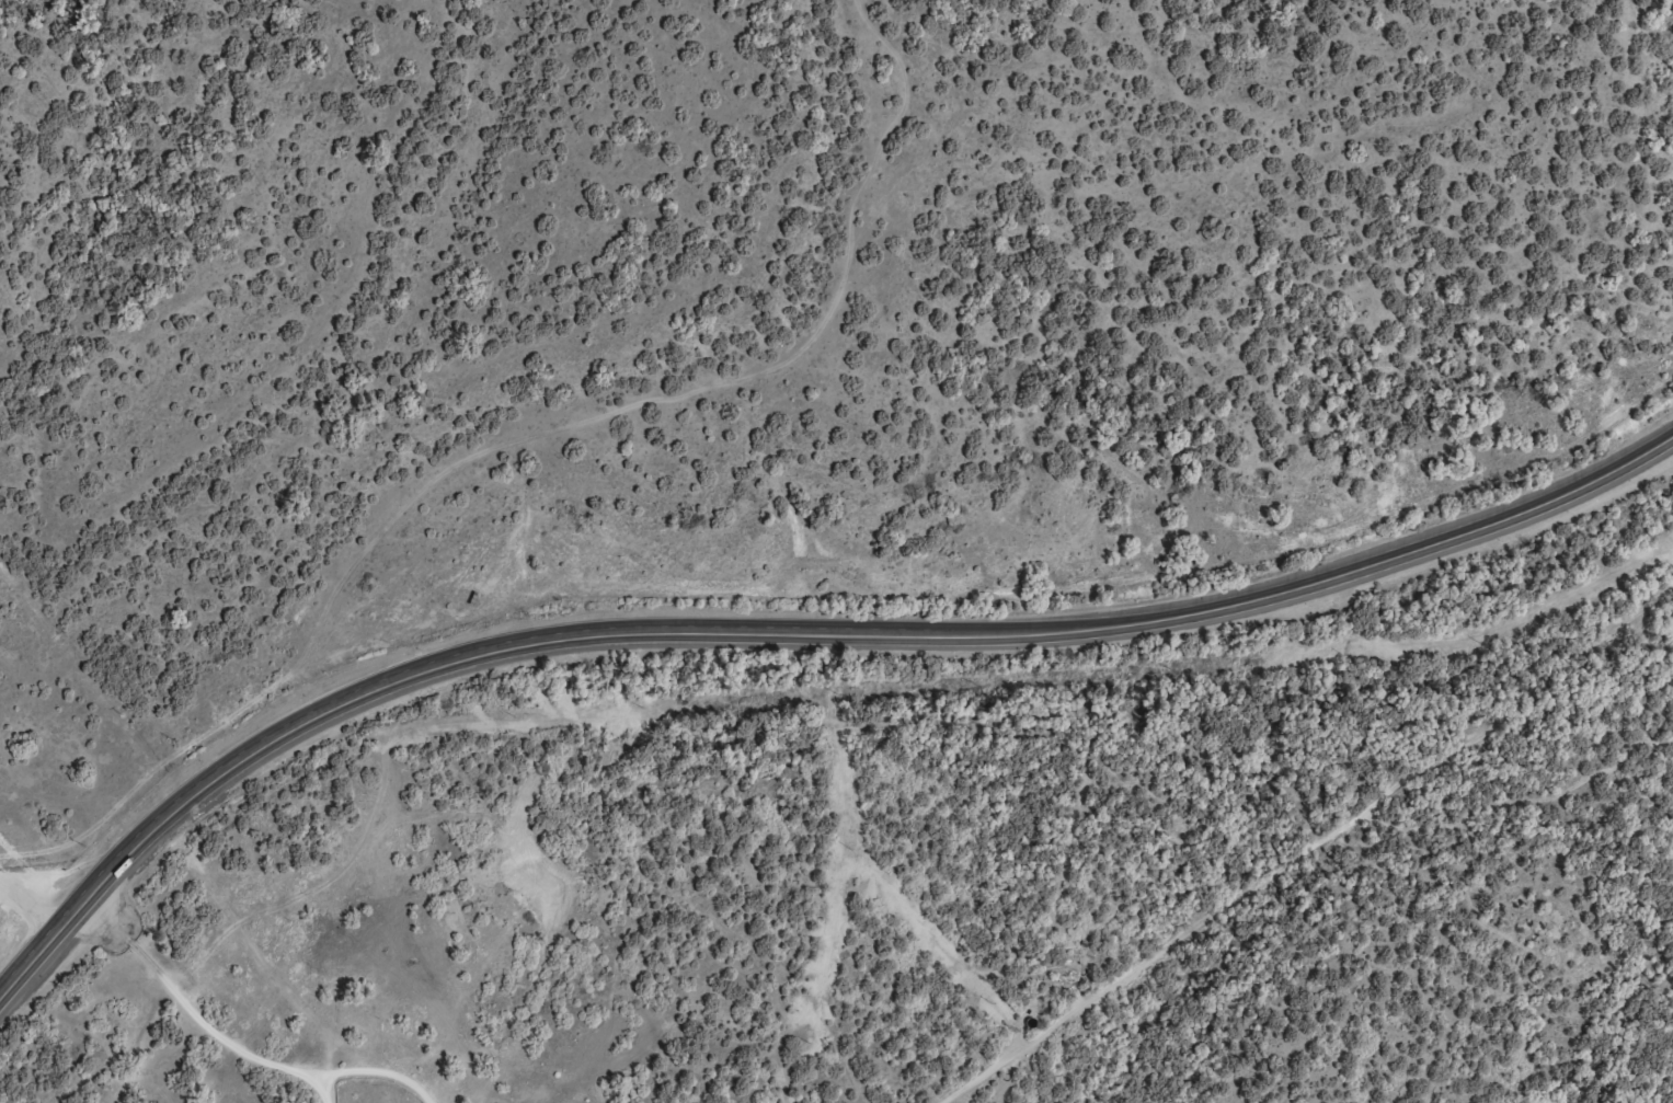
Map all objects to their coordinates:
road: (791, 629)
road: (22, 910)
road: (185, 1006)
road: (377, 1072)
road: (319, 1090)

